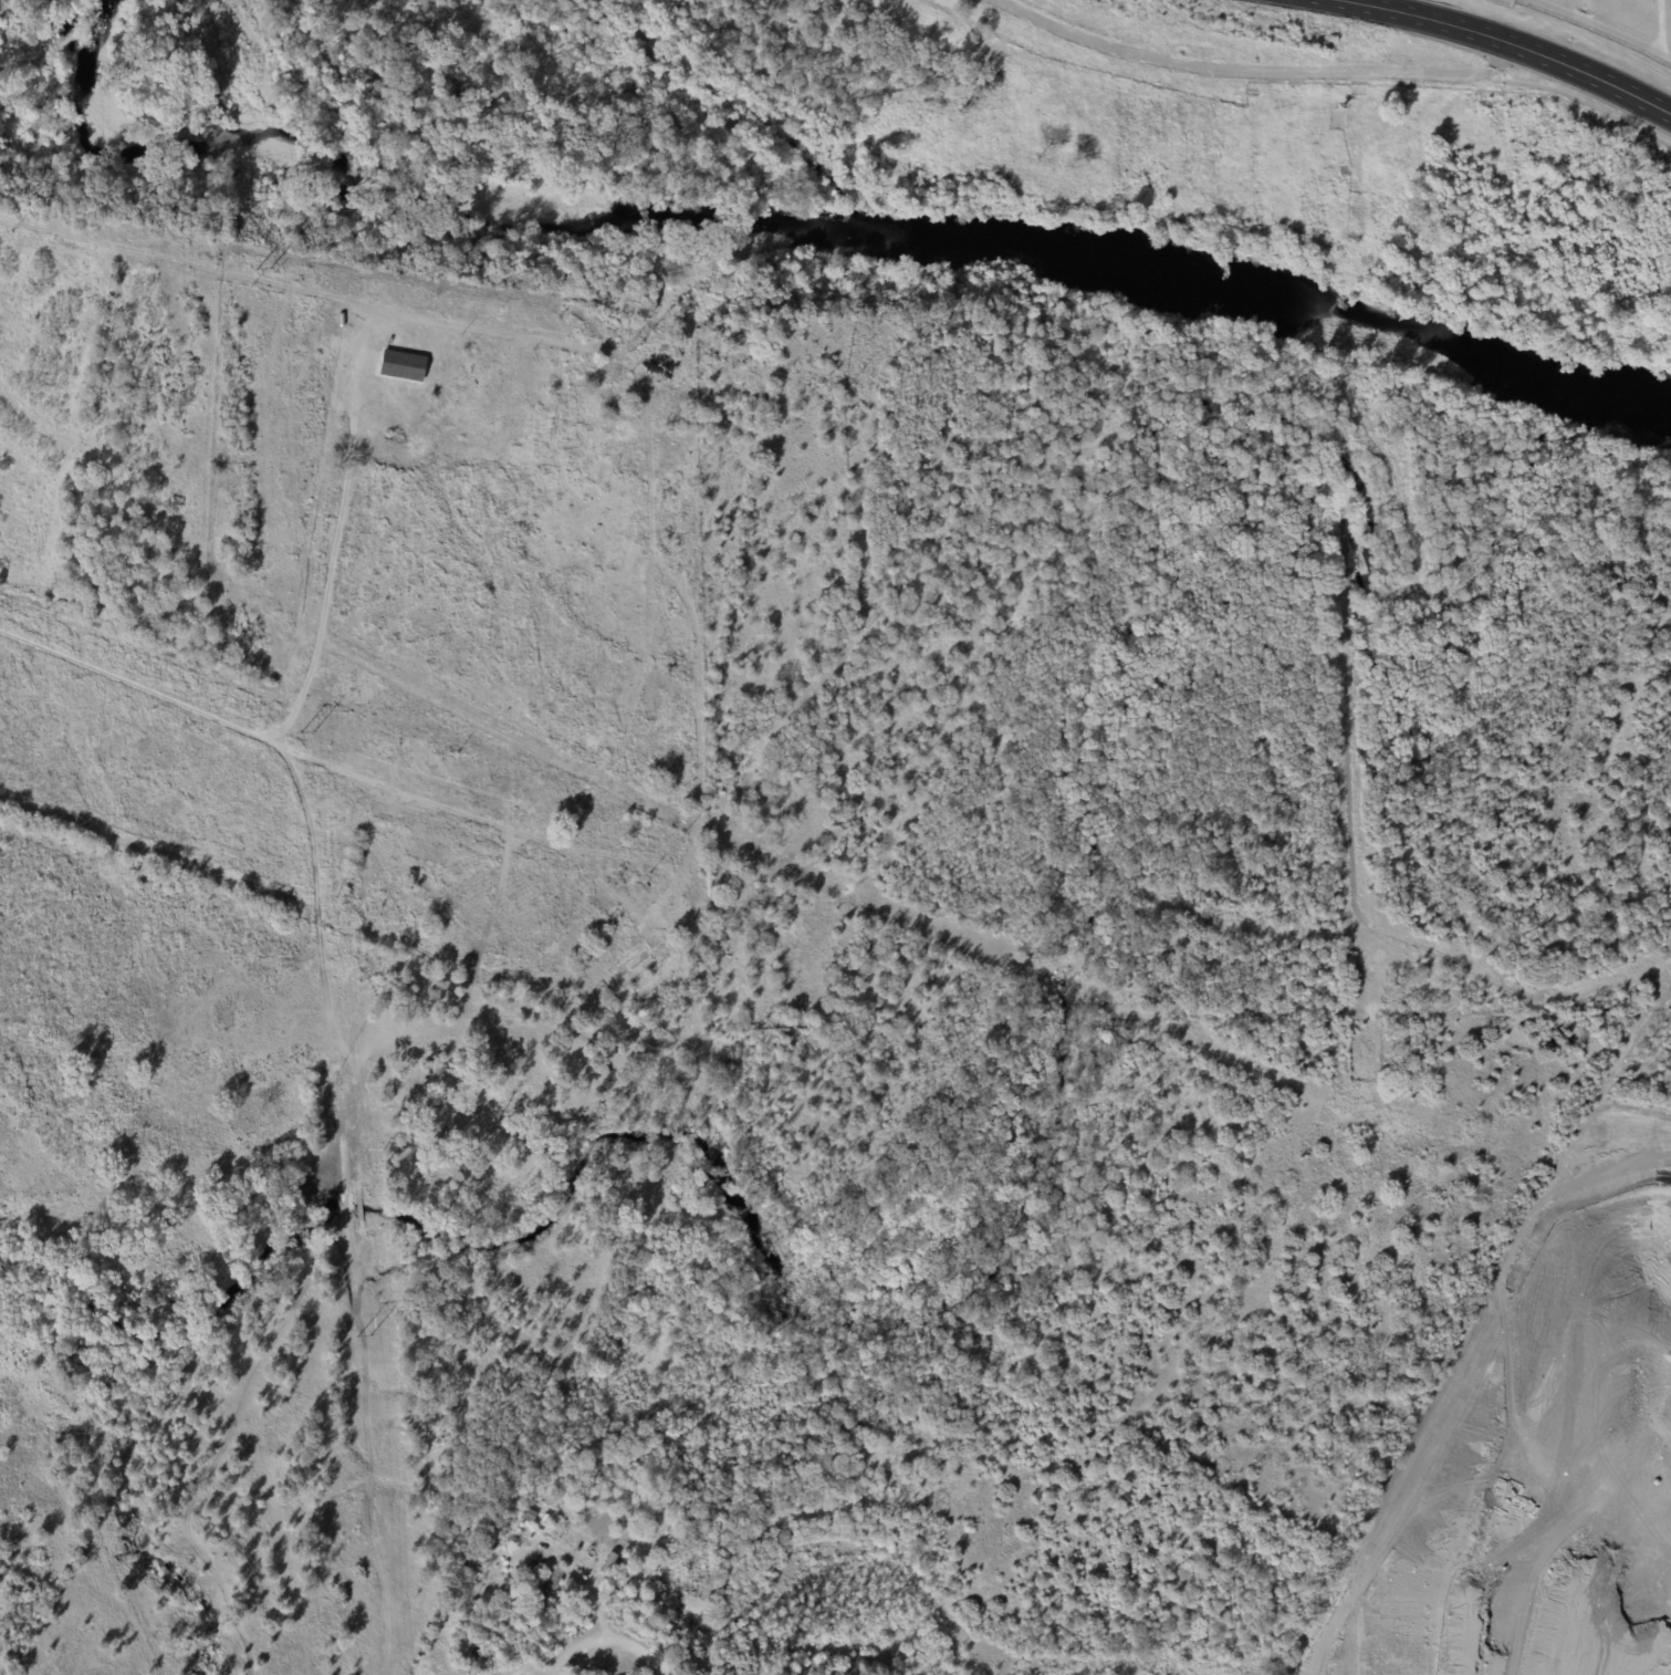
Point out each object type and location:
airport: (1606, 25)
road: (1503, 43)
road: (1253, 67)
road: (1559, 92)
river: (795, 221)
building: (403, 366)
road: (276, 735)
building: (1372, 1415)
landfill: (1548, 1455)
building: (567, 1540)
building: (531, 1570)
building: (546, 1593)
road: (594, 1596)
road: (605, 1636)

